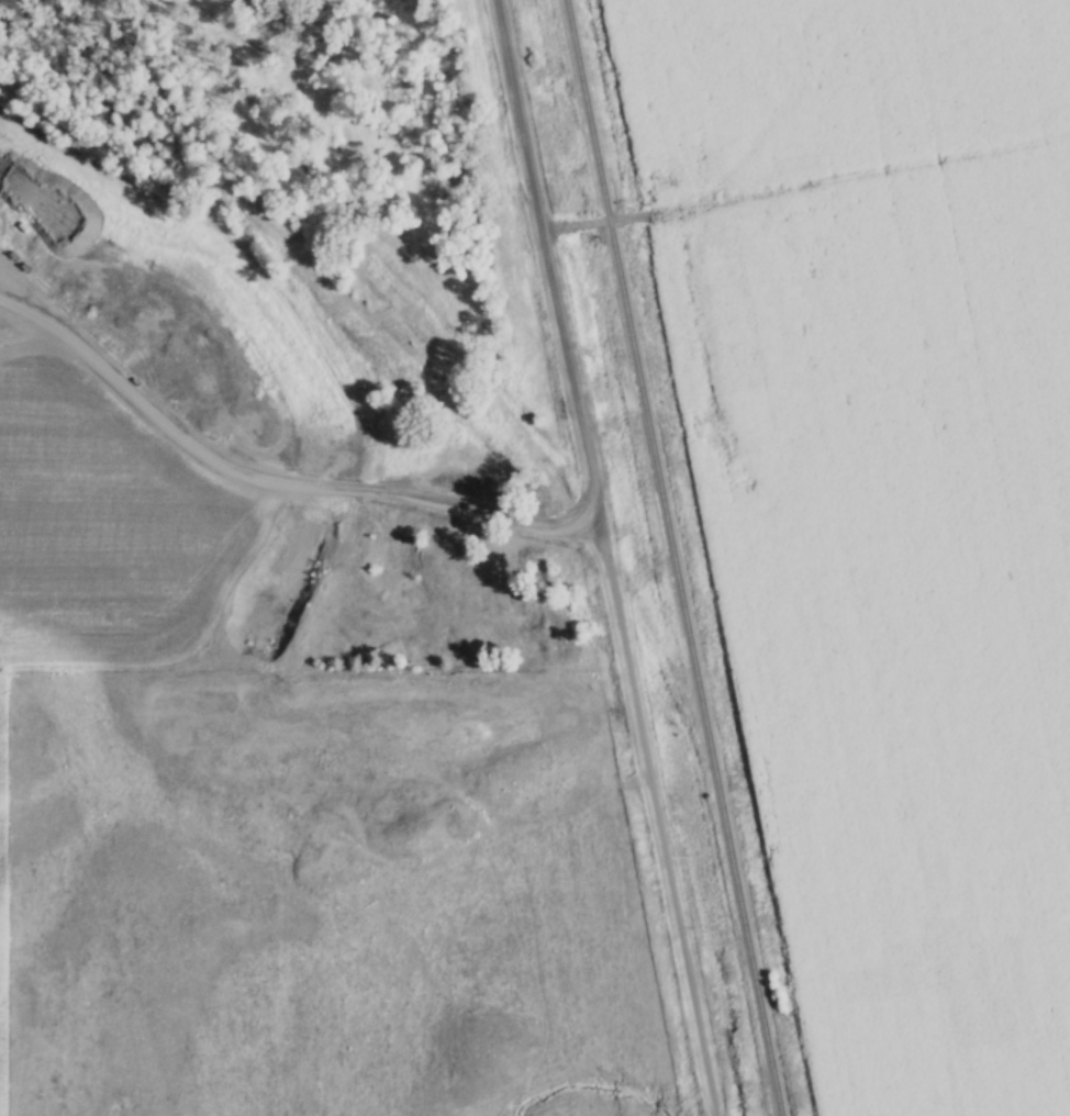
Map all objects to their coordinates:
road: (805, 181)
road: (266, 478)
railway: (675, 557)
road: (606, 558)

